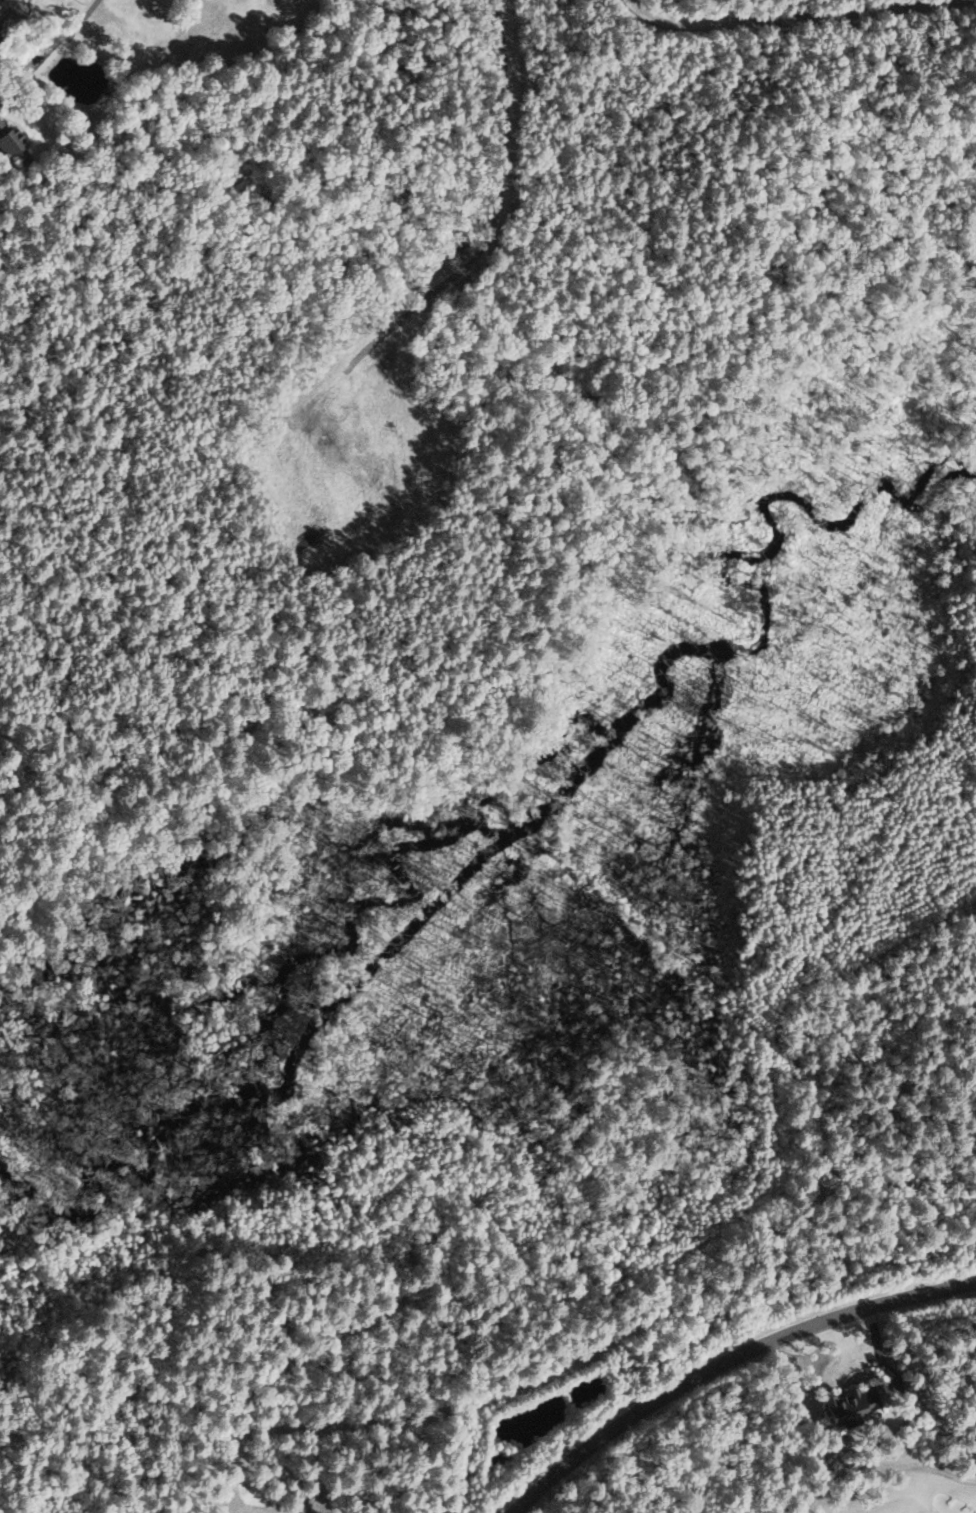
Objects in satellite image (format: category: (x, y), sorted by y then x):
road: (798, 18)
road: (79, 22)
road: (50, 58)
road: (19, 87)
building: (11, 146)
road: (722, 1359)
building: (849, 1401)
park: (883, 1486)
park: (260, 1497)

